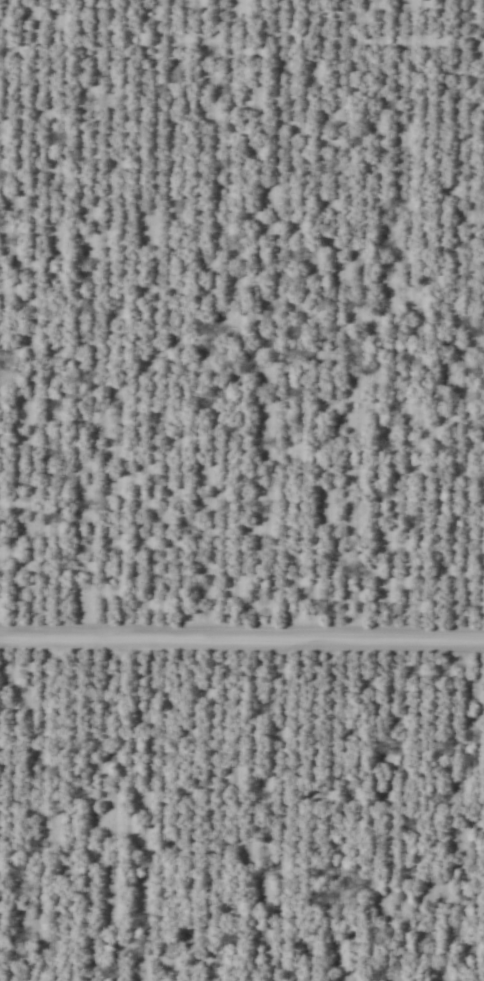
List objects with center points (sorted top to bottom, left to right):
crop: (242, 490)

